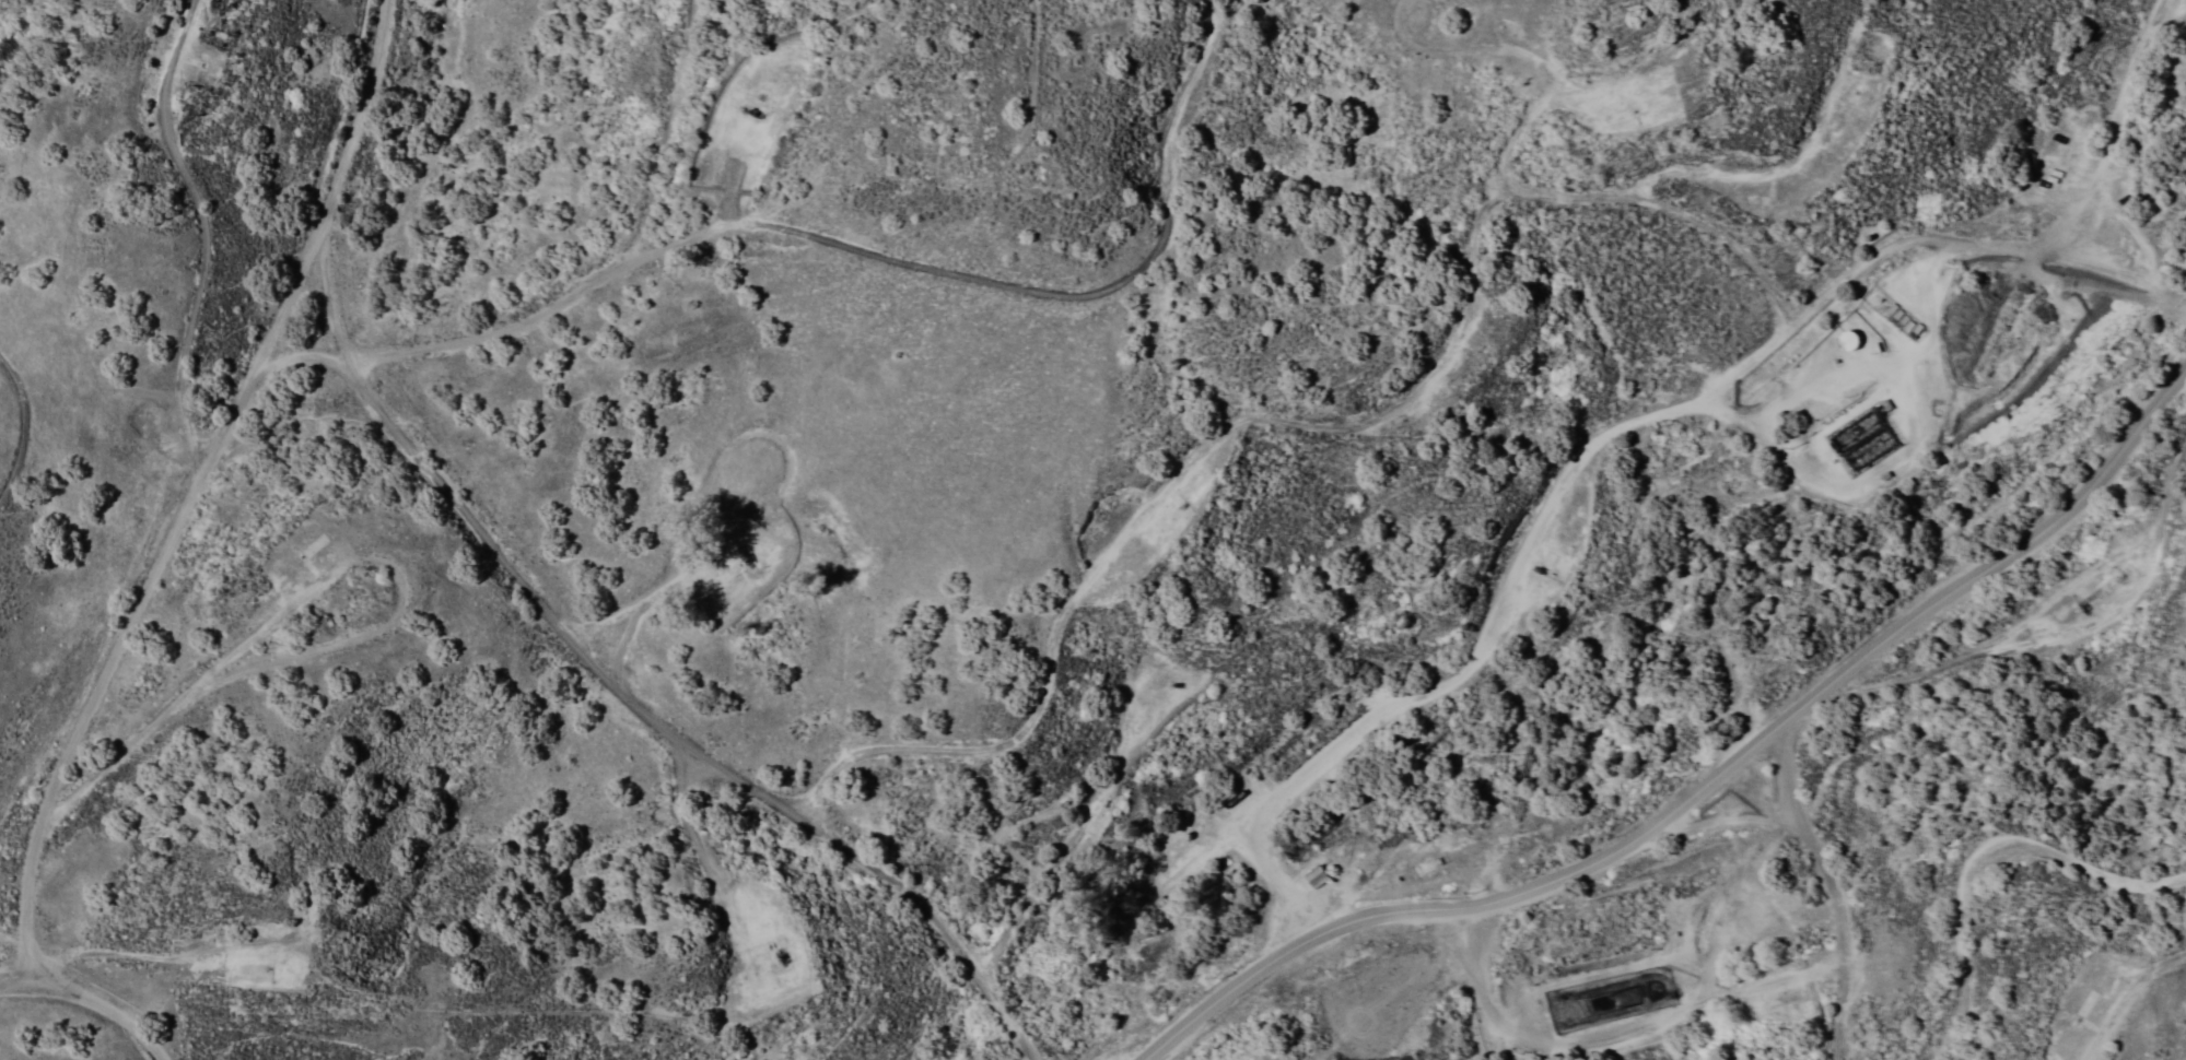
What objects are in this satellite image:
road: (2116, 163)
road: (203, 222)
road: (290, 292)
road: (1077, 295)
road: (252, 372)
road: (1731, 376)
road: (1270, 416)
road: (24, 429)
road: (336, 566)
road: (537, 603)
road: (2064, 631)
road: (113, 754)
road: (1781, 768)
road: (1704, 782)
road: (1824, 858)
road: (1987, 861)
building: (1314, 876)
road: (1284, 891)
road: (2128, 997)
road: (91, 1002)

